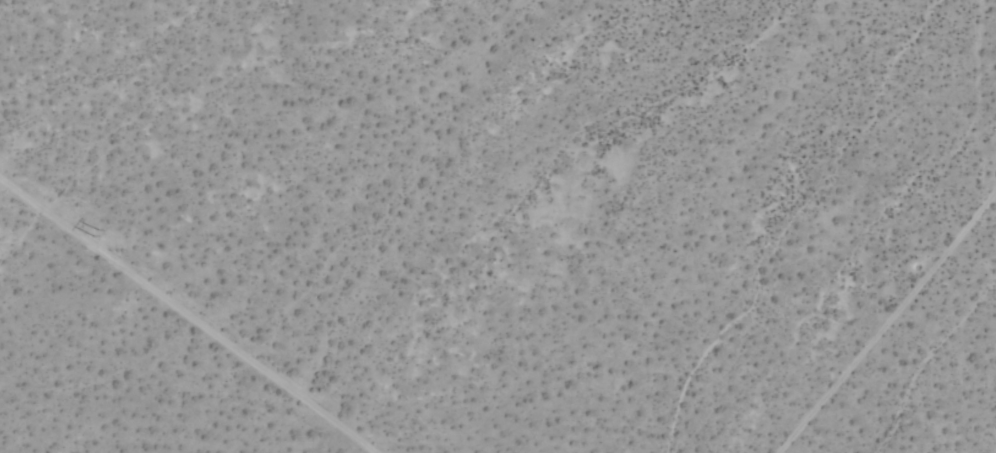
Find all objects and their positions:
power tower: (99, 237)
road: (184, 317)

